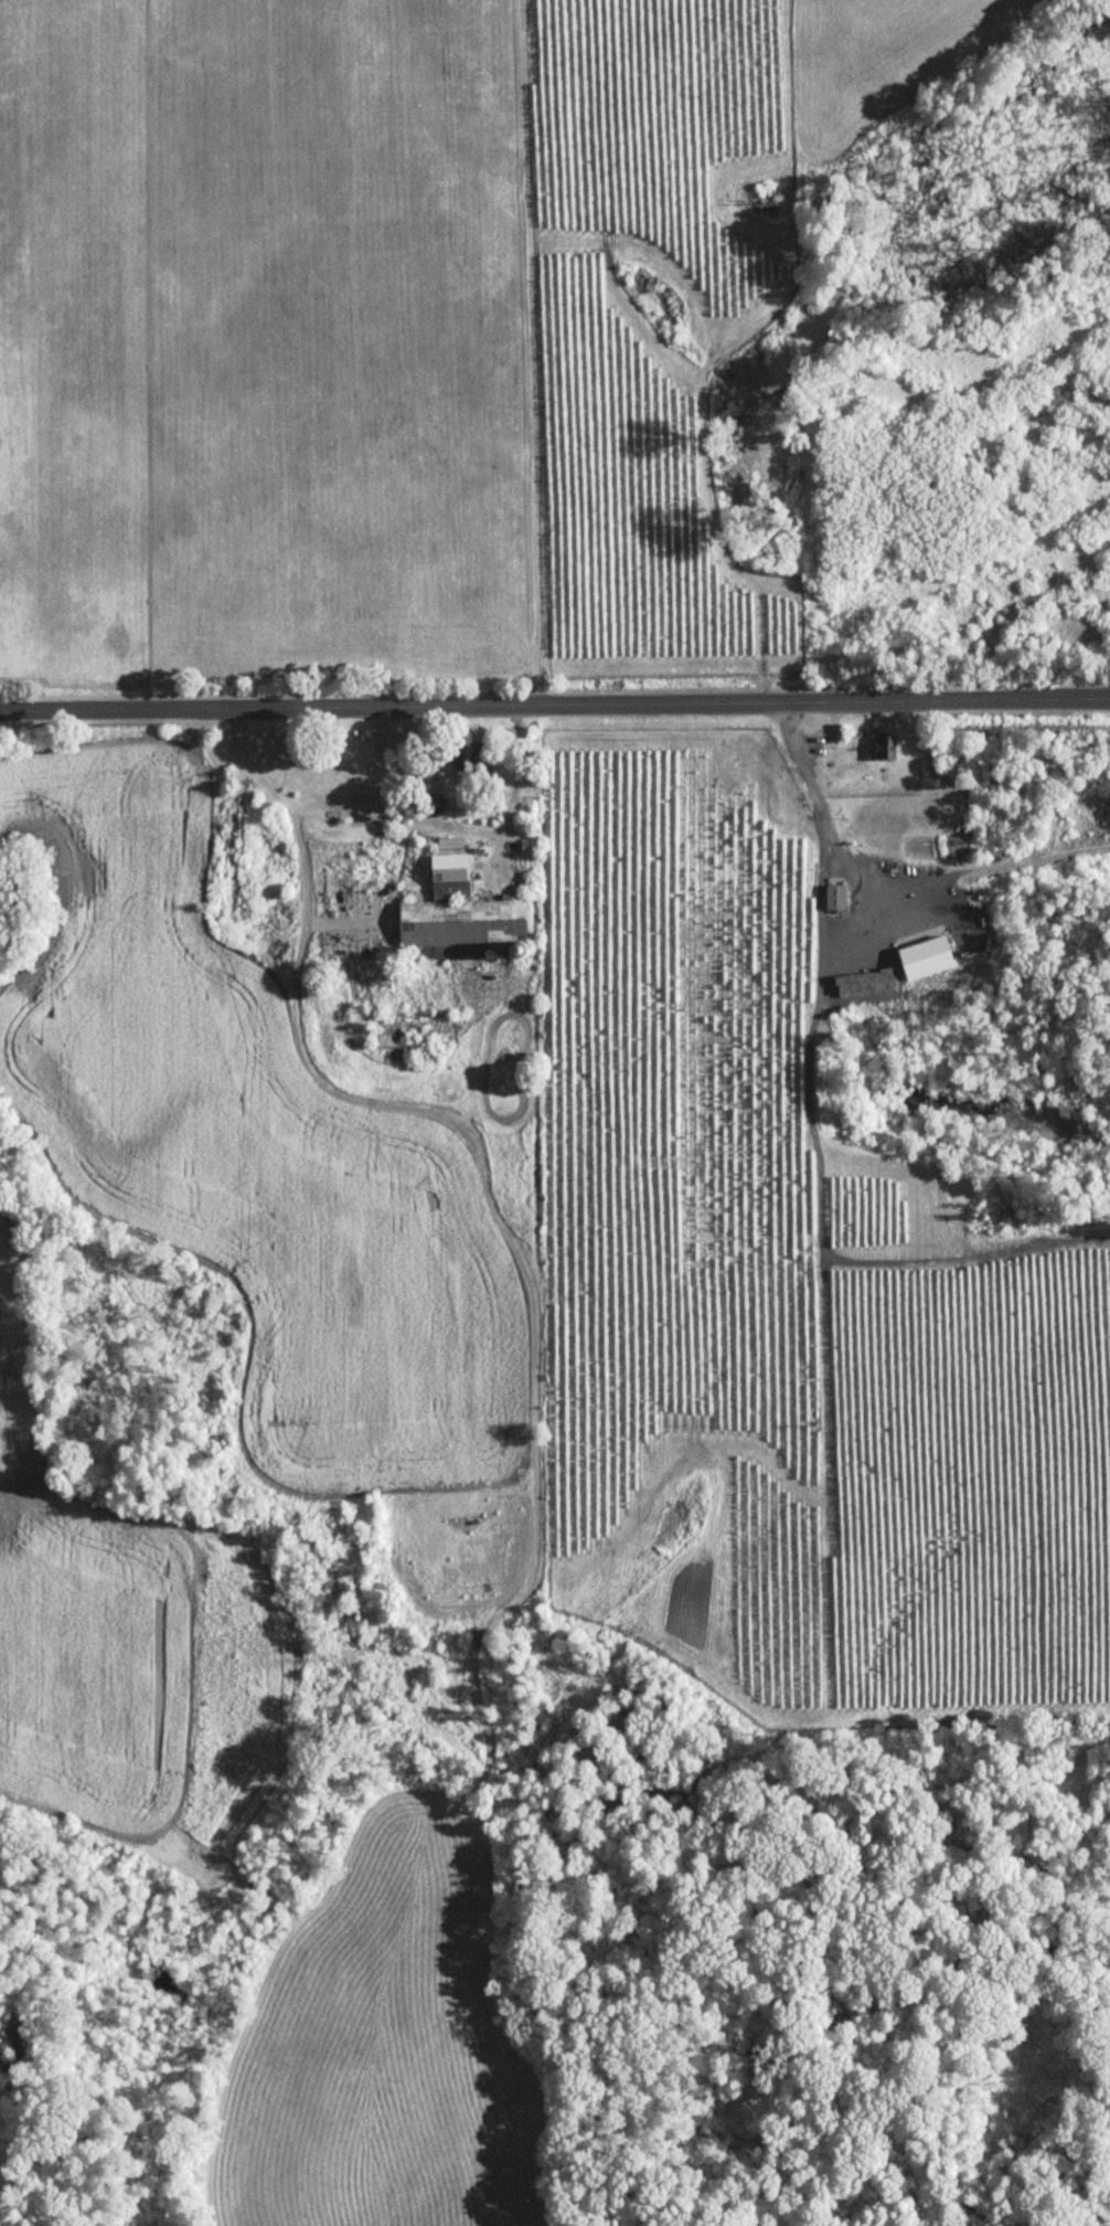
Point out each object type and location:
road: (532, 351)
quarry: (1072, 618)
road: (554, 702)
building: (880, 745)
building: (473, 760)
road: (408, 813)
road: (819, 820)
building: (527, 846)
building: (834, 897)
building: (460, 914)
building: (413, 1033)

